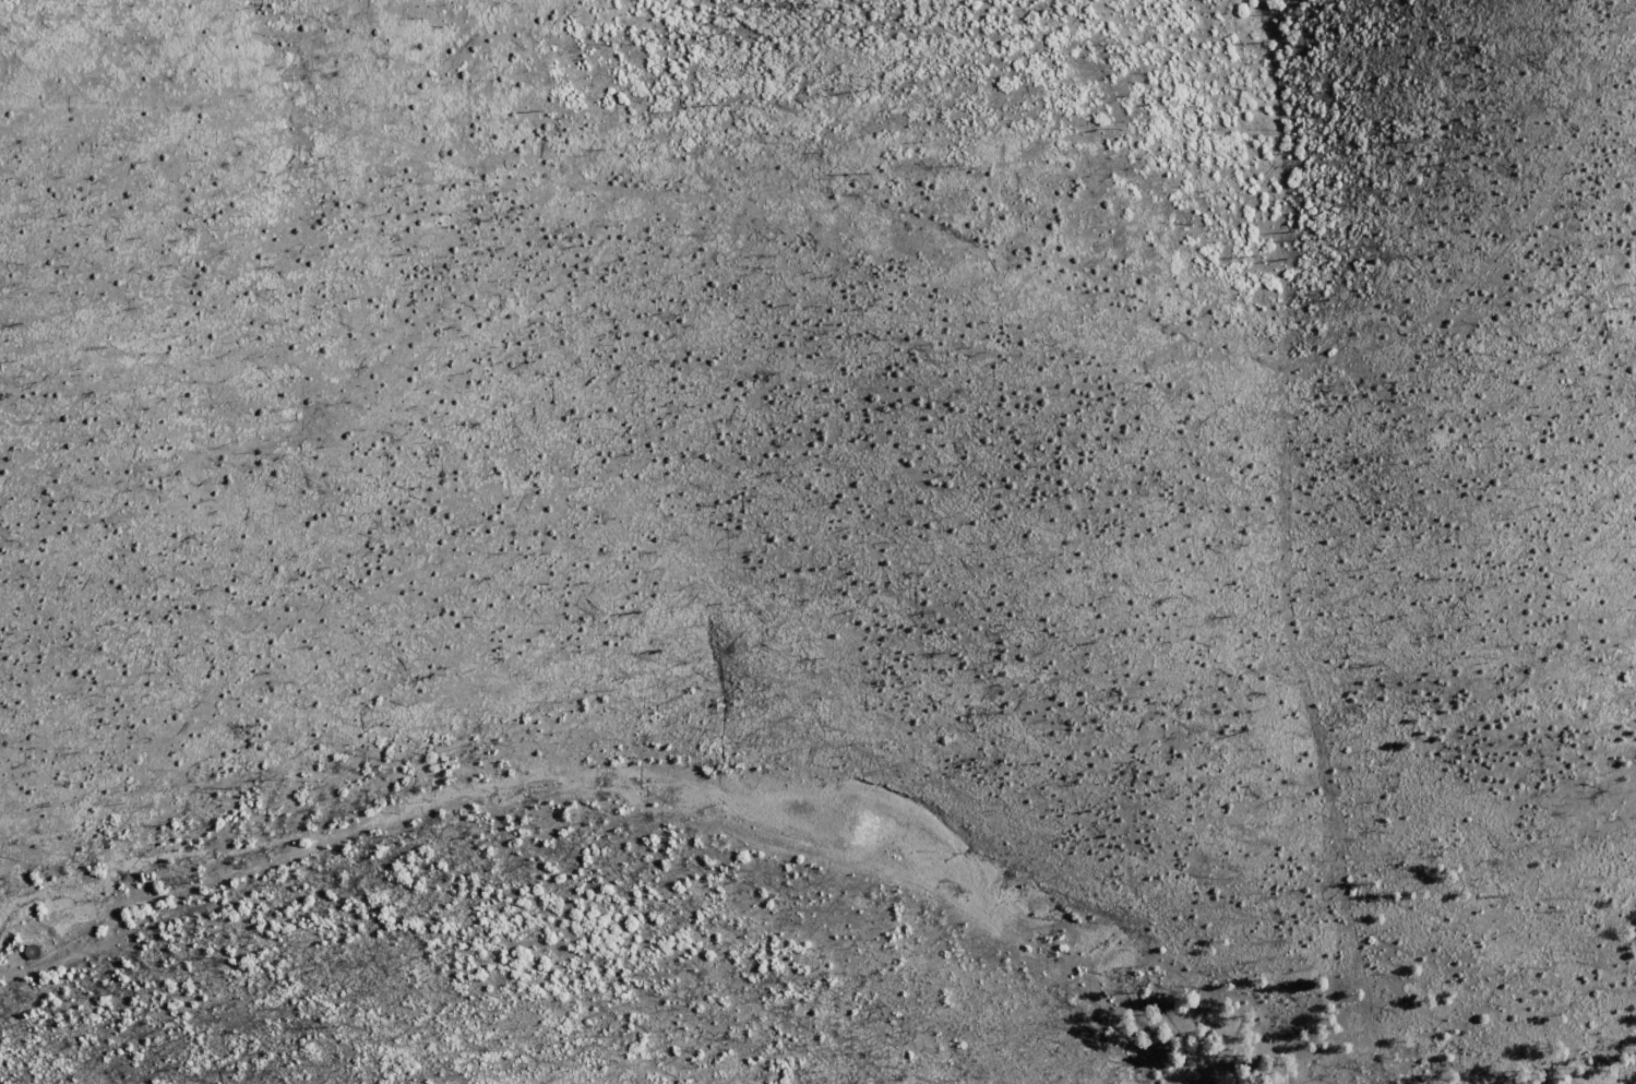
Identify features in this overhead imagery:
road: (1597, 1067)

